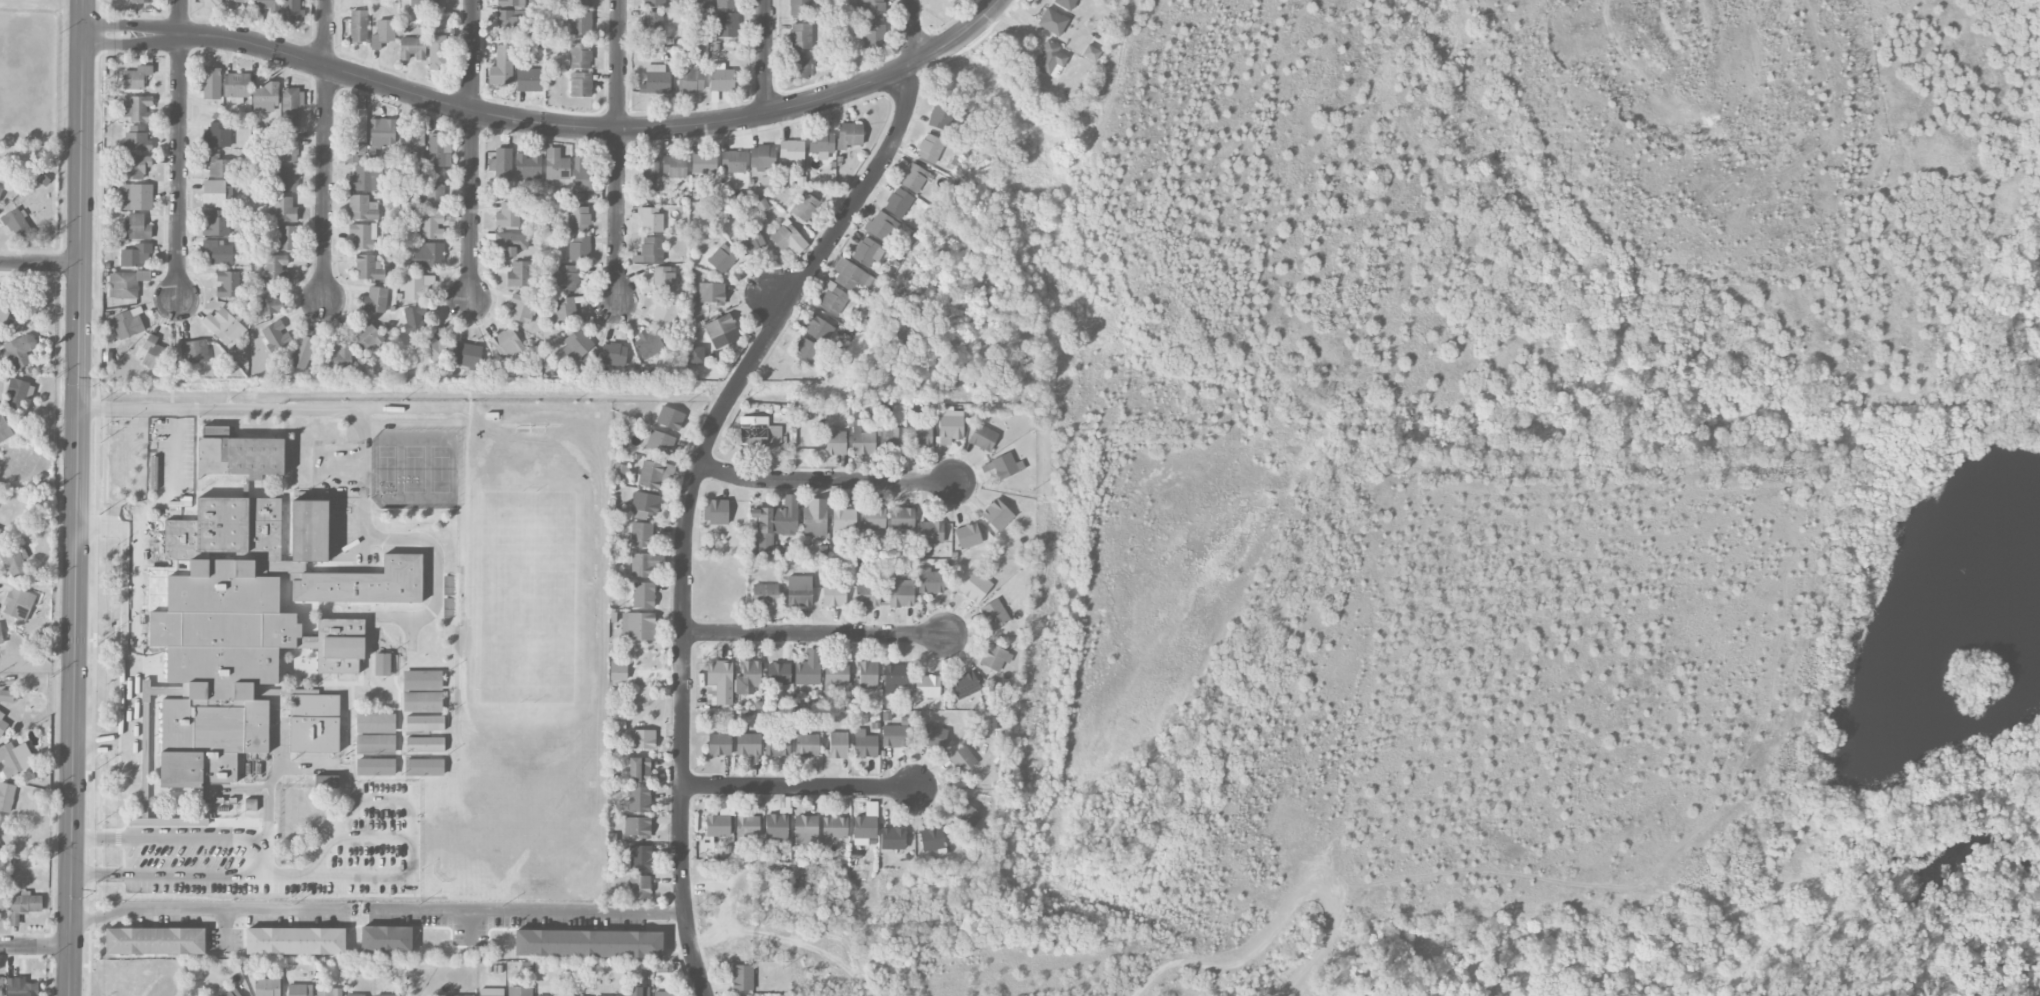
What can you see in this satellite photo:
building: (142, 1)
building: (952, 1)
building: (209, 2)
building: (233, 3)
building: (507, 3)
building: (581, 3)
building: (654, 3)
building: (423, 4)
building: (726, 4)
building: (1065, 4)
building: (799, 8)
building: (870, 10)
building: (293, 11)
road: (82, 17)
building: (514, 22)
building: (1052, 22)
building: (580, 23)
building: (653, 24)
building: (727, 25)
building: (358, 27)
road: (913, 30)
road: (326, 32)
building: (383, 33)
road: (963, 34)
road: (205, 35)
building: (801, 36)
building: (874, 36)
building: (412, 49)
building: (441, 52)
building: (1091, 54)
building: (580, 55)
road: (765, 57)
building: (1049, 59)
building: (796, 63)
road: (914, 63)
road: (328, 66)
building: (502, 67)
building: (135, 77)
building: (721, 78)
park: (28, 79)
building: (528, 79)
building: (655, 80)
building: (690, 81)
building: (211, 83)
building: (581, 84)
building: (236, 85)
building: (266, 97)
building: (292, 104)
building: (136, 108)
building: (940, 116)
building: (357, 125)
road: (619, 128)
building: (382, 132)
building: (217, 135)
building: (849, 135)
building: (137, 139)
building: (412, 141)
building: (821, 143)
building: (930, 148)
building: (352, 149)
building: (288, 150)
road: (180, 151)
building: (439, 151)
road: (618, 151)
road: (471, 152)
building: (792, 154)
building: (763, 158)
building: (733, 161)
building: (704, 163)
building: (502, 164)
building: (556, 165)
building: (219, 166)
building: (528, 166)
building: (674, 166)
building: (137, 167)
building: (582, 174)
building: (650, 175)
building: (365, 178)
building: (915, 178)
building: (288, 179)
road: (326, 186)
building: (0, 191)
building: (214, 193)
building: (432, 196)
building: (136, 197)
building: (581, 197)
building: (899, 203)
building: (805, 207)
building: (362, 208)
building: (281, 209)
building: (508, 215)
building: (578, 219)
building: (651, 220)
building: (217, 223)
building: (18, 225)
building: (431, 226)
building: (880, 226)
building: (137, 227)
road: (839, 228)
building: (361, 237)
building: (286, 238)
building: (788, 238)
building: (750, 242)
building: (510, 243)
building: (580, 248)
building: (650, 250)
building: (218, 251)
building: (866, 252)
building: (427, 255)
building: (136, 256)
building: (722, 259)
road: (40, 264)
building: (368, 267)
building: (275, 268)
building: (520, 274)
building: (850, 275)
building: (567, 278)
building: (664, 279)
building: (126, 284)
building: (227, 284)
building: (417, 286)
building: (711, 293)
building: (375, 300)
building: (833, 300)
building: (269, 302)
building: (521, 309)
building: (565, 309)
building: (664, 315)
building: (3, 317)
building: (414, 318)
building: (128, 323)
building: (223, 326)
building: (819, 329)
building: (721, 331)
building: (276, 336)
building: (368, 336)
building: (508, 345)
building: (577, 345)
building: (648, 345)
building: (431, 349)
building: (806, 350)
building: (20, 351)
building: (194, 352)
building: (302, 352)
building: (153, 353)
building: (613, 354)
building: (696, 355)
building: (468, 356)
building: (339, 359)
building: (19, 393)
road: (728, 398)
road: (258, 406)
building: (670, 418)
building: (949, 426)
building: (4, 428)
building: (760, 435)
building: (920, 436)
building: (983, 437)
building: (835, 440)
building: (862, 441)
building: (660, 442)
building: (892, 442)
road: (177, 447)
building: (238, 455)
building: (1004, 466)
building: (651, 474)
road: (828, 481)
building: (644, 505)
building: (718, 512)
road: (77, 515)
building: (997, 515)
building: (815, 518)
building: (872, 518)
building: (902, 518)
building: (844, 520)
building: (774, 523)
building: (310, 531)
building: (930, 532)
building: (641, 535)
building: (968, 536)
building: (12, 561)
building: (642, 564)
building: (930, 581)
building: (365, 583)
building: (975, 587)
building: (799, 591)
building: (901, 593)
building: (867, 594)
building: (643, 595)
building: (834, 595)
building: (765, 597)
building: (18, 603)
building: (994, 614)
building: (638, 626)
road: (132, 629)
road: (816, 634)
building: (1, 636)
building: (229, 638)
building: (995, 657)
building: (808, 669)
building: (618, 673)
building: (778, 673)
building: (836, 675)
building: (866, 675)
building: (894, 677)
building: (748, 678)
building: (719, 683)
building: (964, 685)
building: (926, 686)
building: (9, 696)
road: (683, 705)
building: (314, 722)
building: (2, 724)
building: (894, 736)
building: (933, 737)
building: (642, 739)
building: (375, 744)
building: (748, 744)
building: (865, 744)
building: (719, 745)
building: (777, 745)
building: (807, 745)
building: (837, 745)
building: (15, 758)
building: (962, 759)
building: (638, 769)
building: (326, 781)
road: (801, 786)
building: (6, 796)
building: (639, 799)
building: (250, 805)
building: (966, 814)
building: (720, 818)
building: (866, 825)
building: (747, 826)
building: (637, 827)
building: (776, 827)
building: (834, 827)
building: (806, 829)
road: (185, 837)
building: (892, 839)
building: (932, 839)
building: (640, 858)
road: (319, 877)
building: (639, 887)
building: (3, 902)
building: (23, 905)
road: (530, 907)
road: (204, 909)
building: (386, 939)
building: (155, 941)
building: (295, 941)
building: (588, 943)
road: (35, 946)
building: (742, 978)
building: (1, 987)
building: (267, 987)
building: (299, 990)
building: (520, 991)
building: (636, 991)
building: (231, 992)
building: (329, 992)
building: (491, 992)
building: (663, 993)
building: (360, 995)
building: (387, 995)
building: (465, 995)
building: (543, 995)

